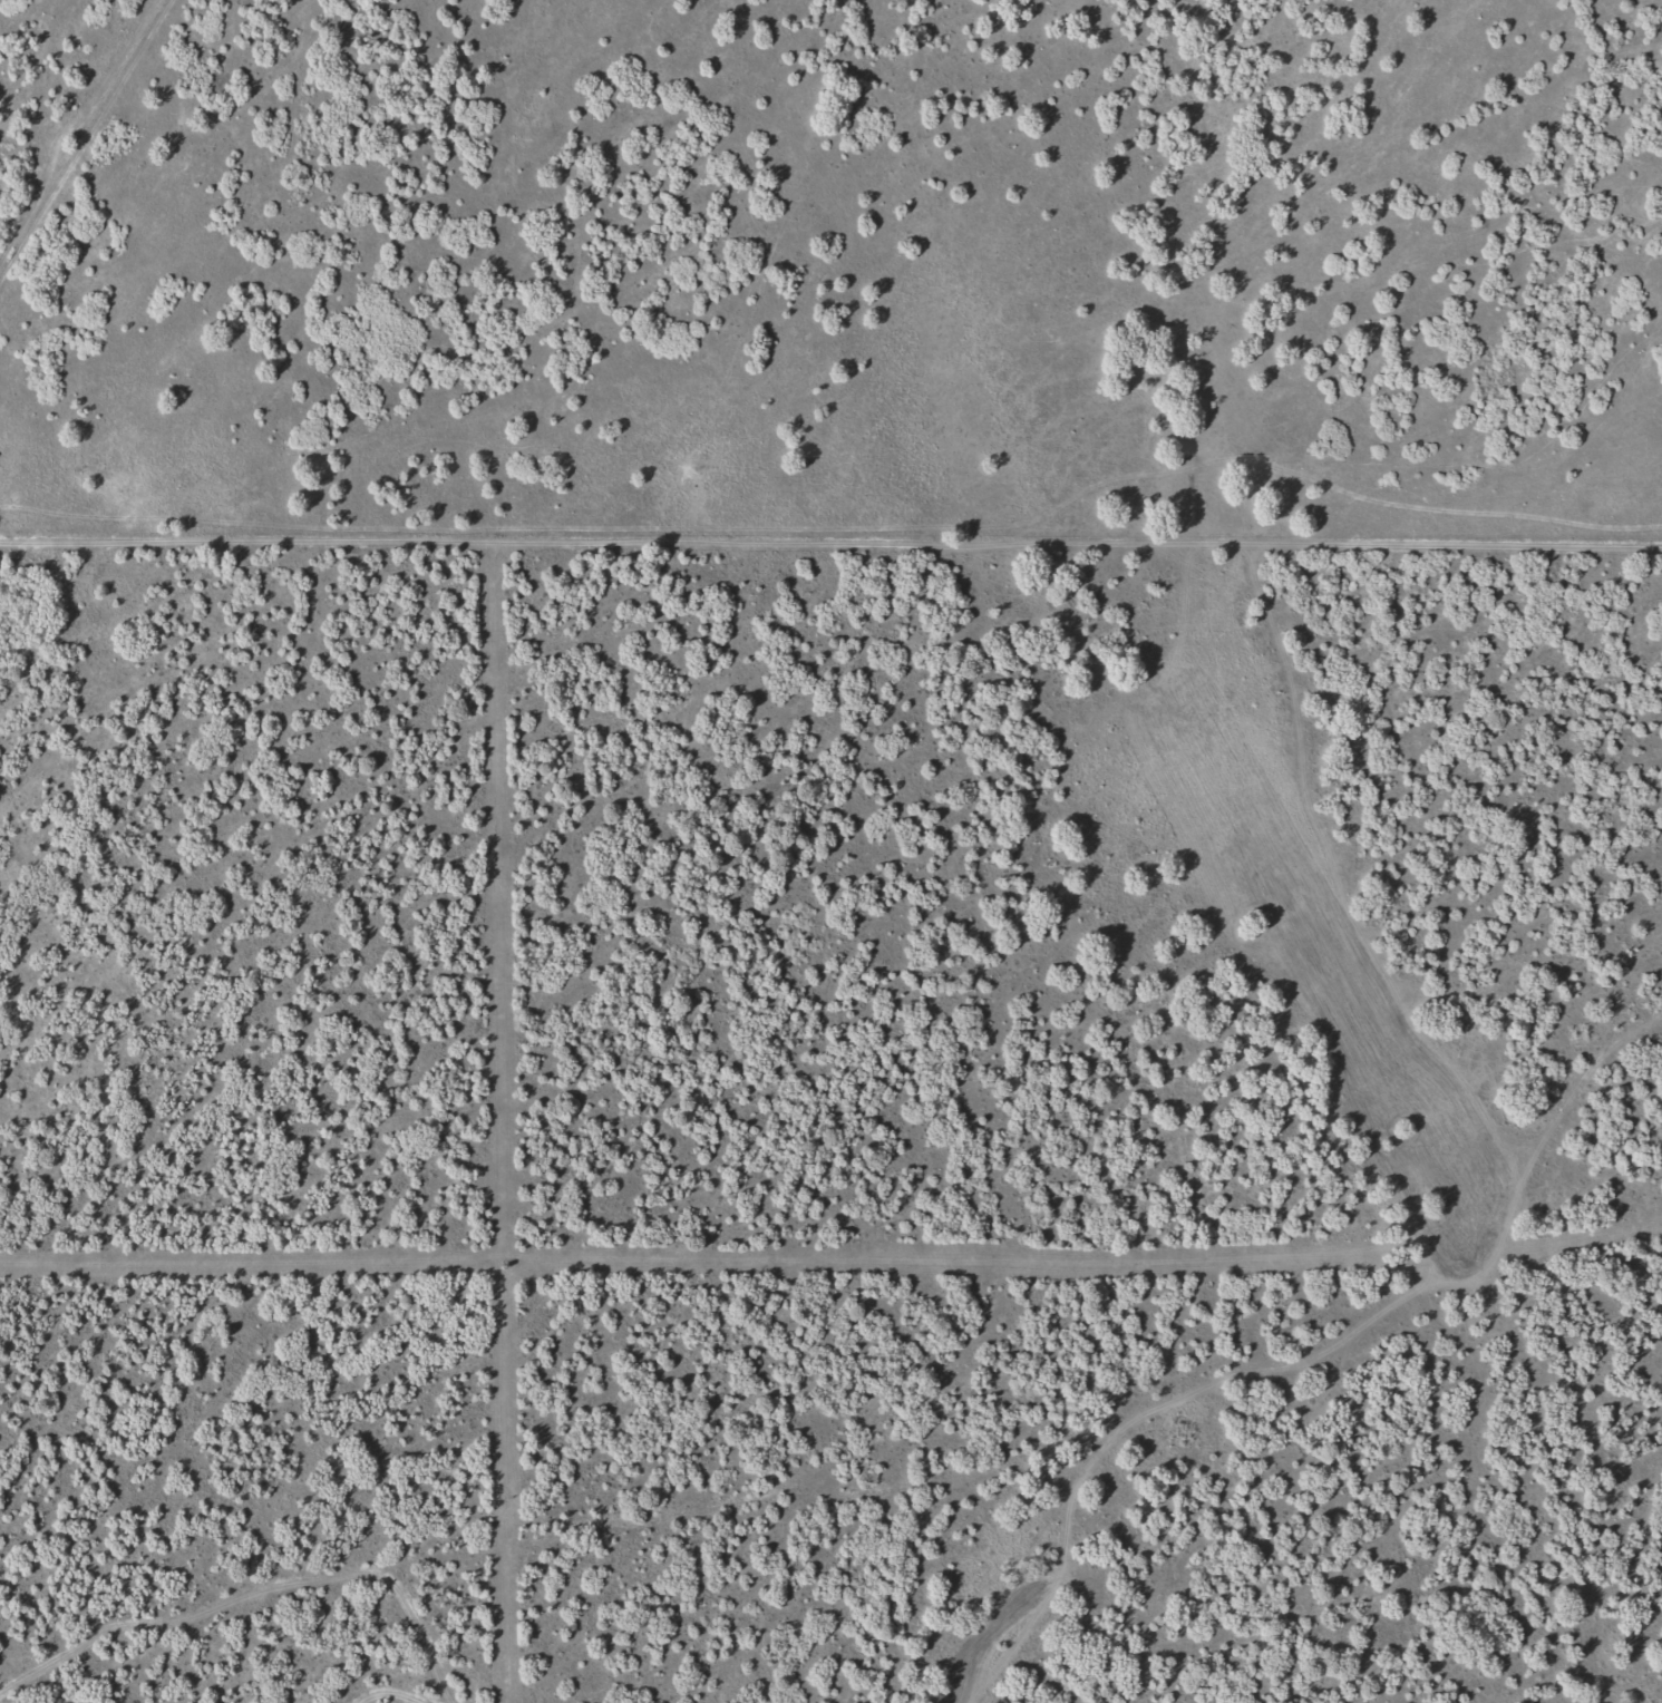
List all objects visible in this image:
road: (220, 1618)

